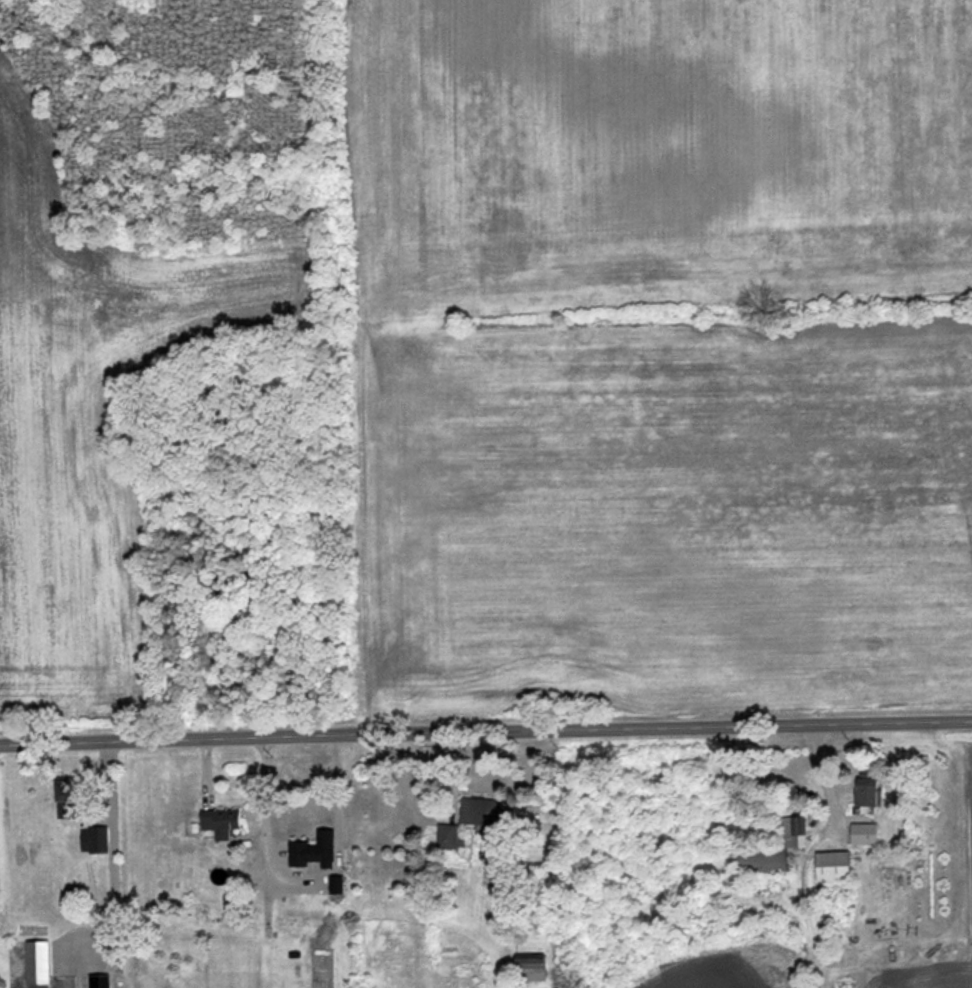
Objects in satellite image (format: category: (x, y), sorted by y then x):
road: (486, 733)
building: (861, 794)
building: (476, 813)
building: (216, 824)
building: (861, 835)
building: (90, 840)
building: (318, 848)
building: (771, 851)
building: (828, 868)
road: (300, 883)
building: (81, 951)
building: (33, 964)

